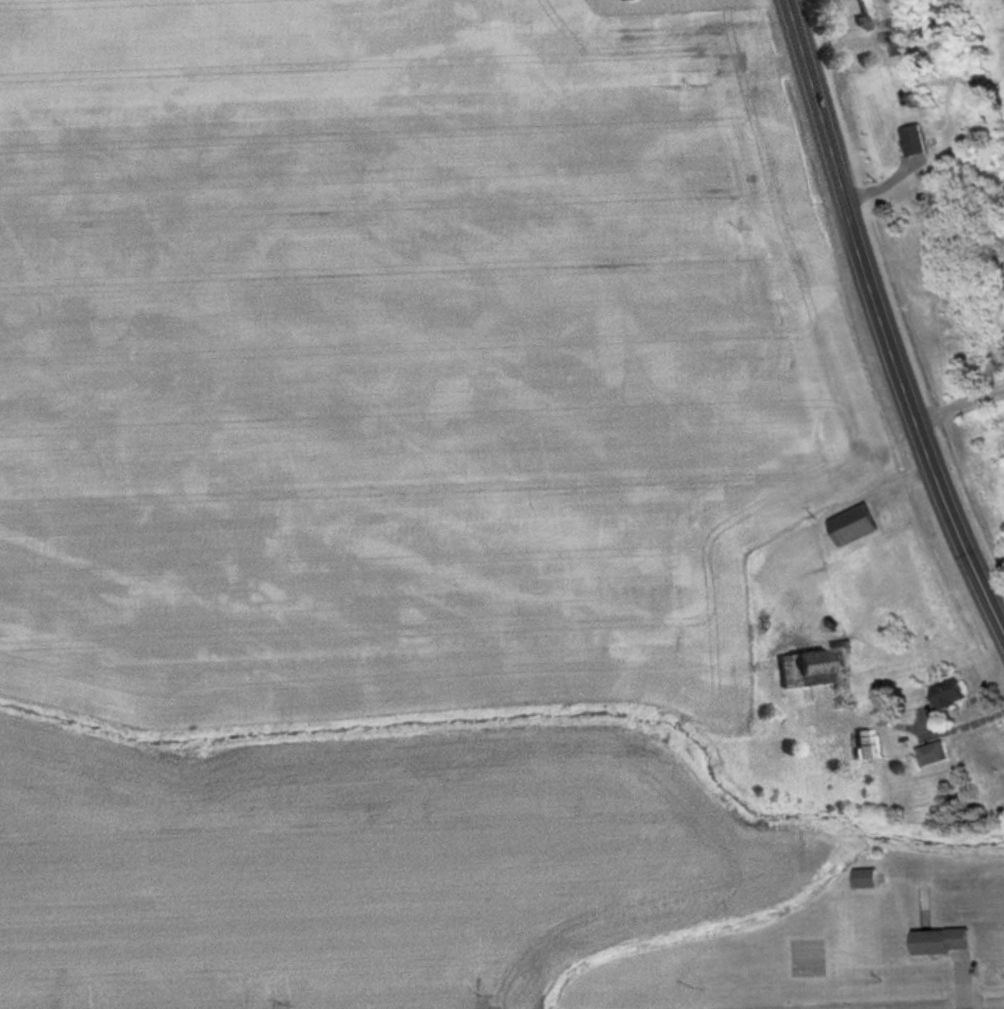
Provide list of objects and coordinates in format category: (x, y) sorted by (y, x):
building: (871, 22)
building: (903, 41)
building: (917, 97)
building: (925, 140)
road: (883, 316)
building: (863, 522)
building: (810, 667)
building: (957, 692)
building: (869, 747)
building: (939, 751)
building: (873, 877)
building: (952, 939)

